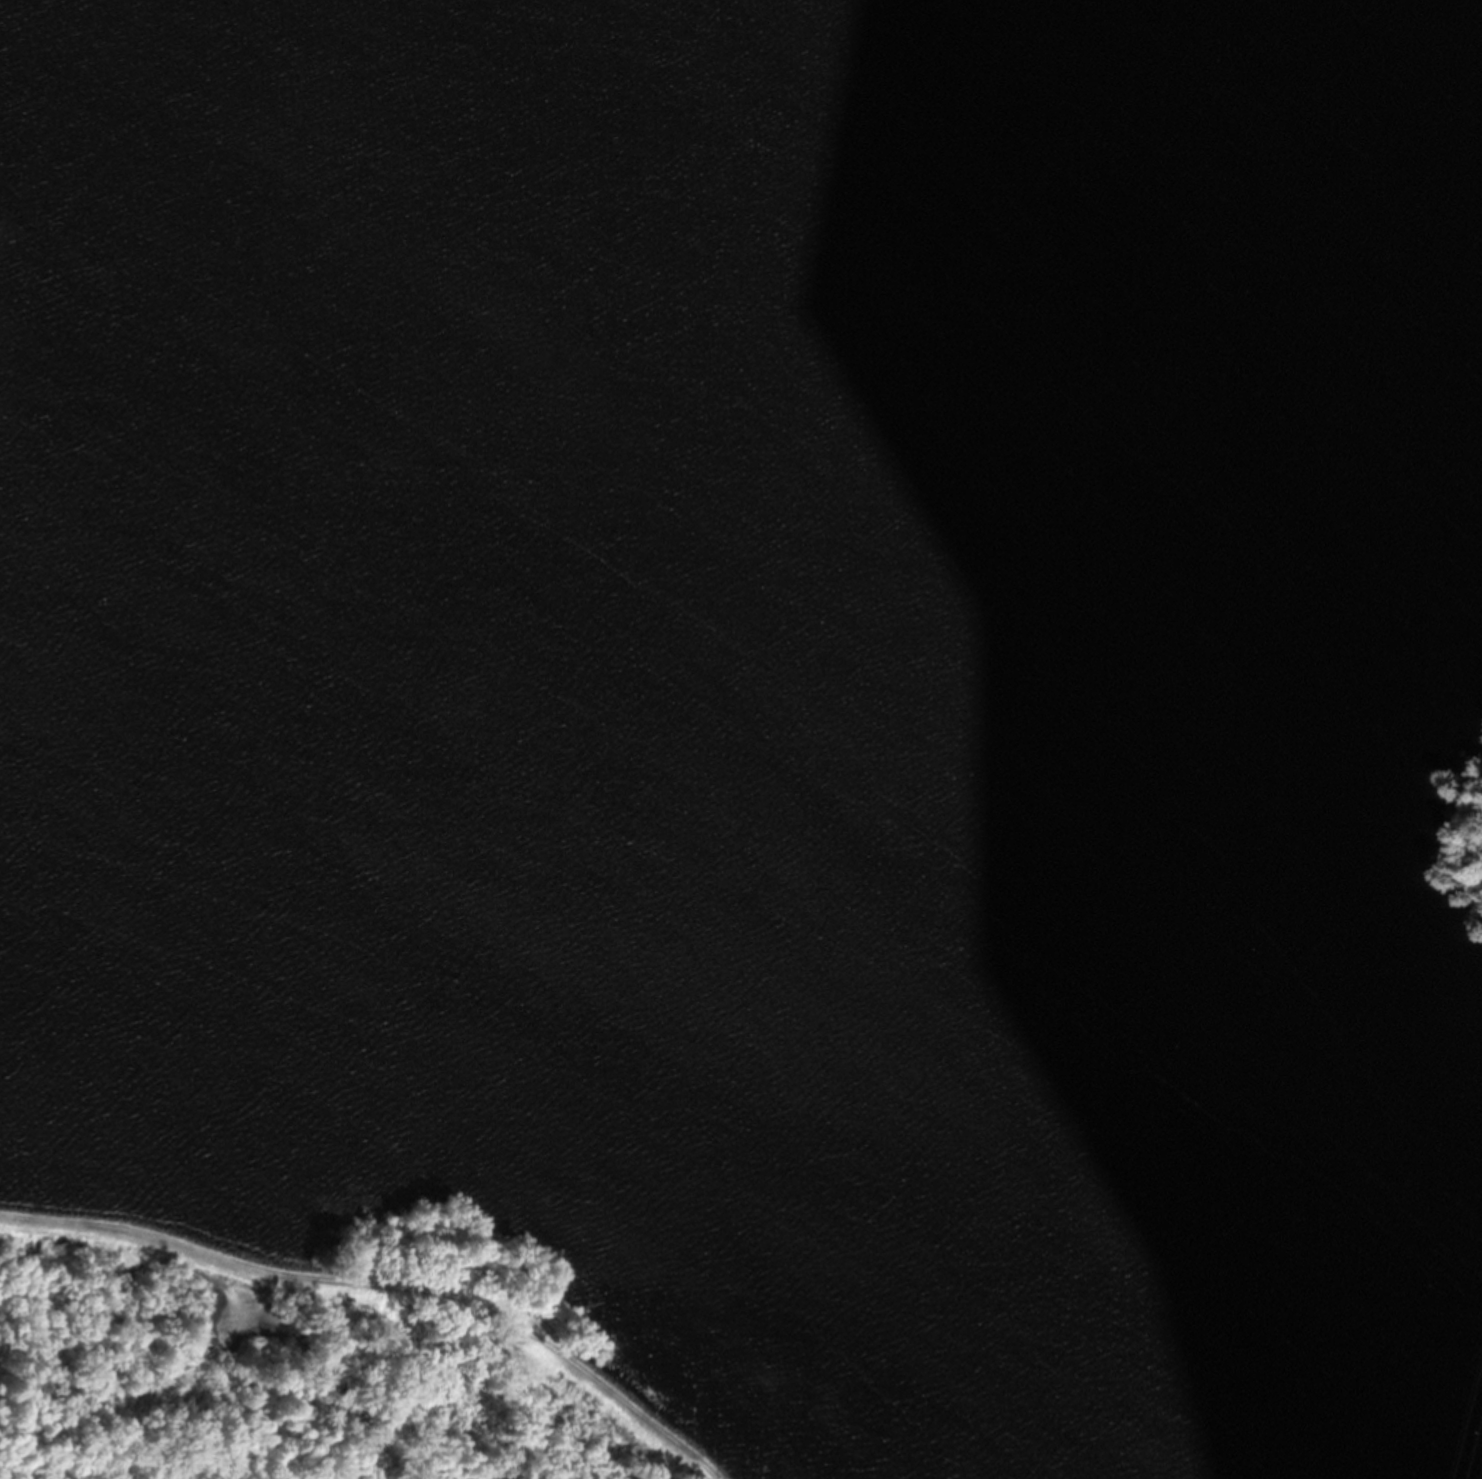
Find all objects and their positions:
river: (757, 919)

